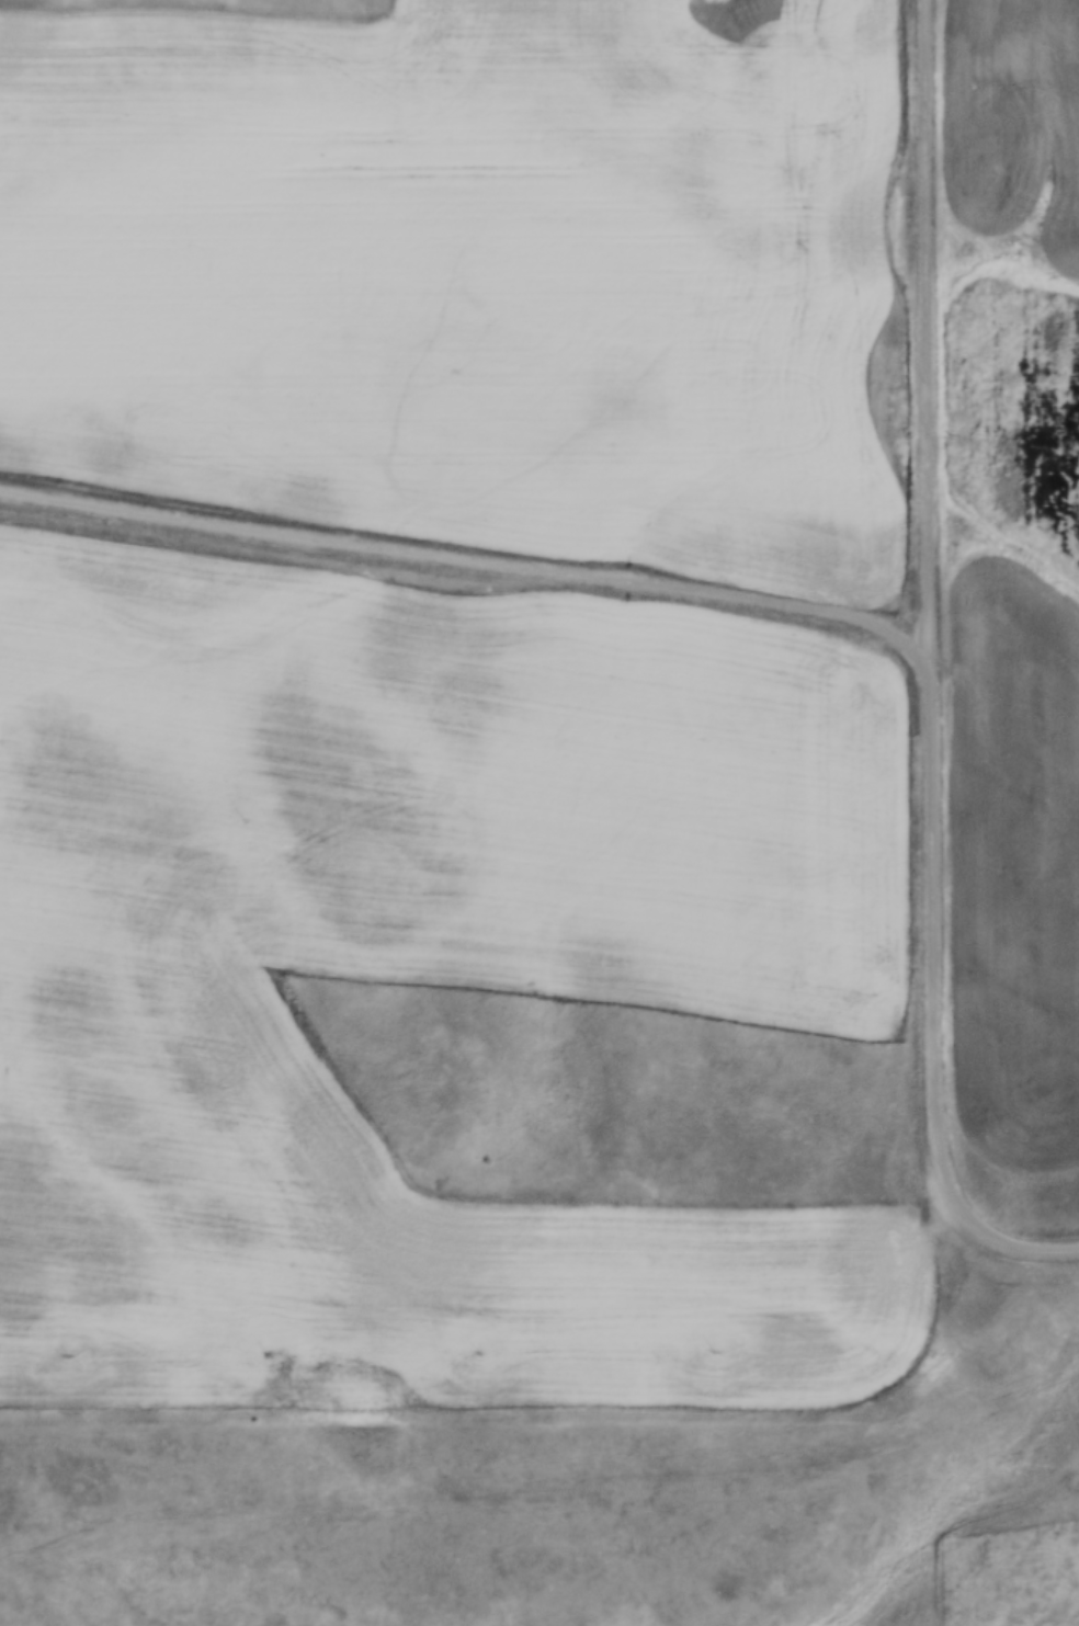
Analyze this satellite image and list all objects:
road: (466, 556)
road: (933, 623)
road: (1035, 1243)
road: (1016, 1549)

